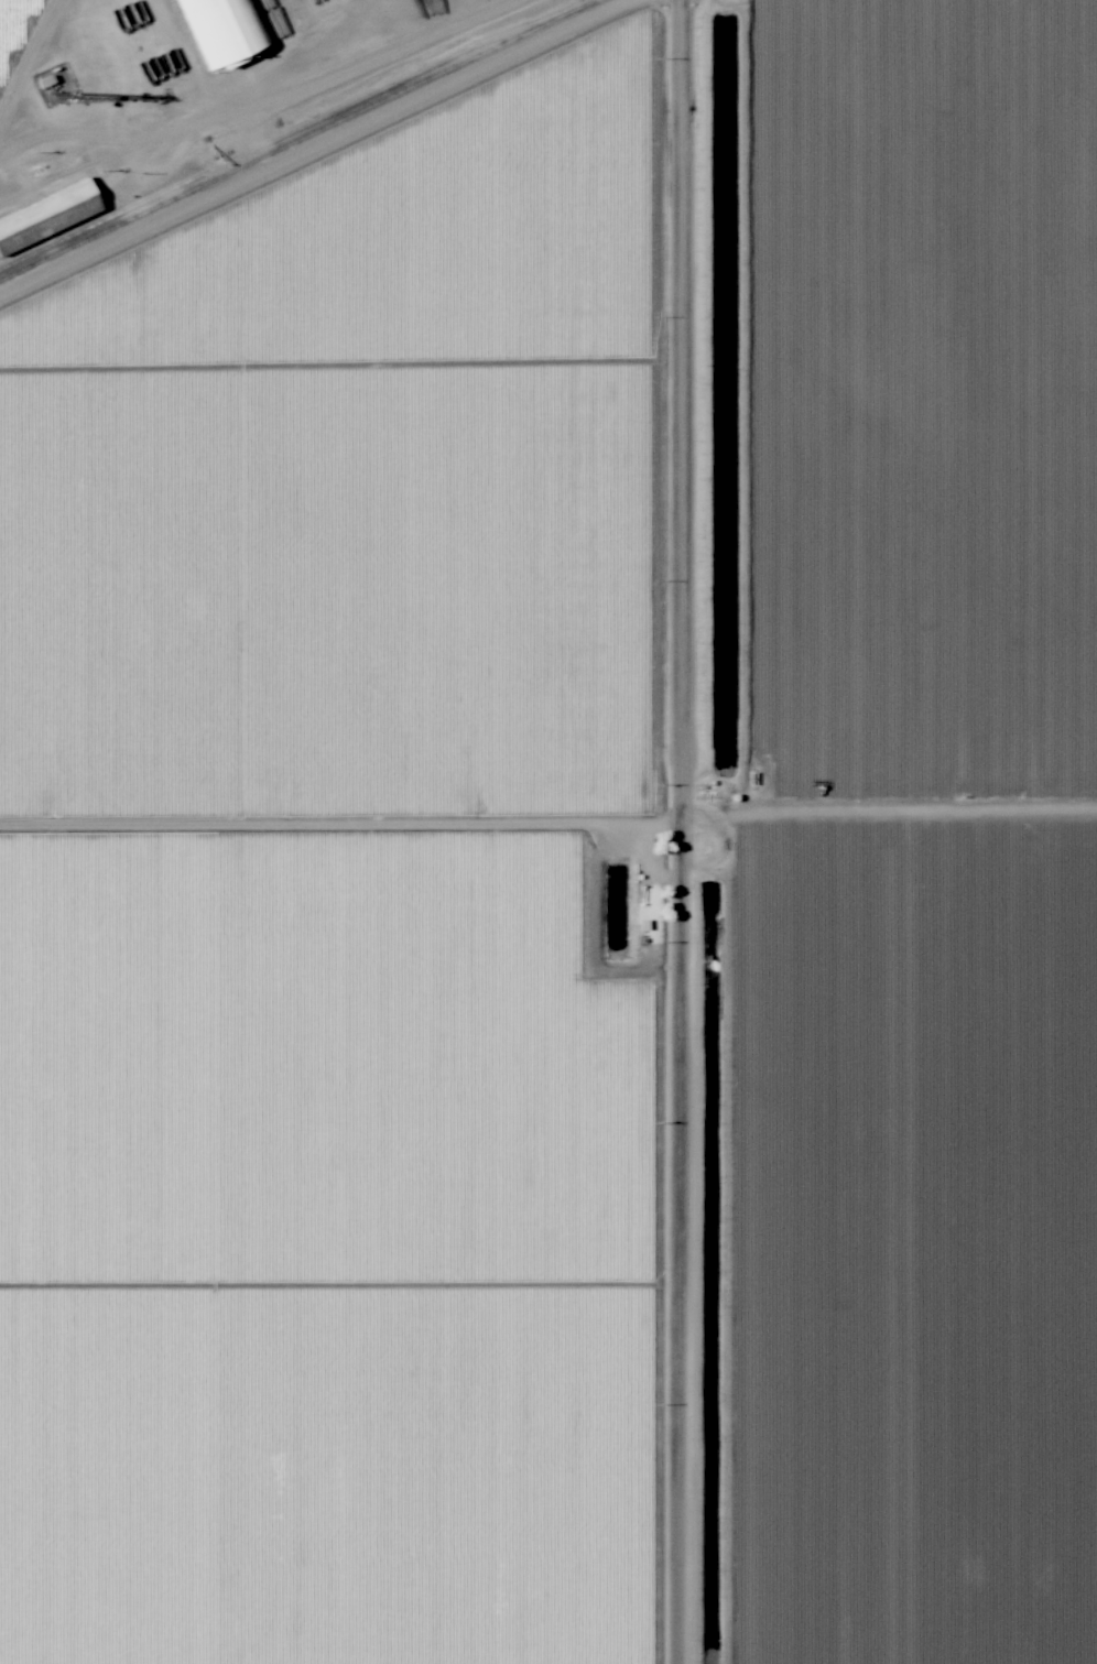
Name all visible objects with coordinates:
building: (222, 28)
railway: (295, 139)
railway: (267, 141)
building: (65, 204)
crop: (888, 405)
crop: (362, 485)
road: (887, 819)
road: (338, 820)
road: (675, 831)
crop: (889, 1238)
crop: (340, 1239)

